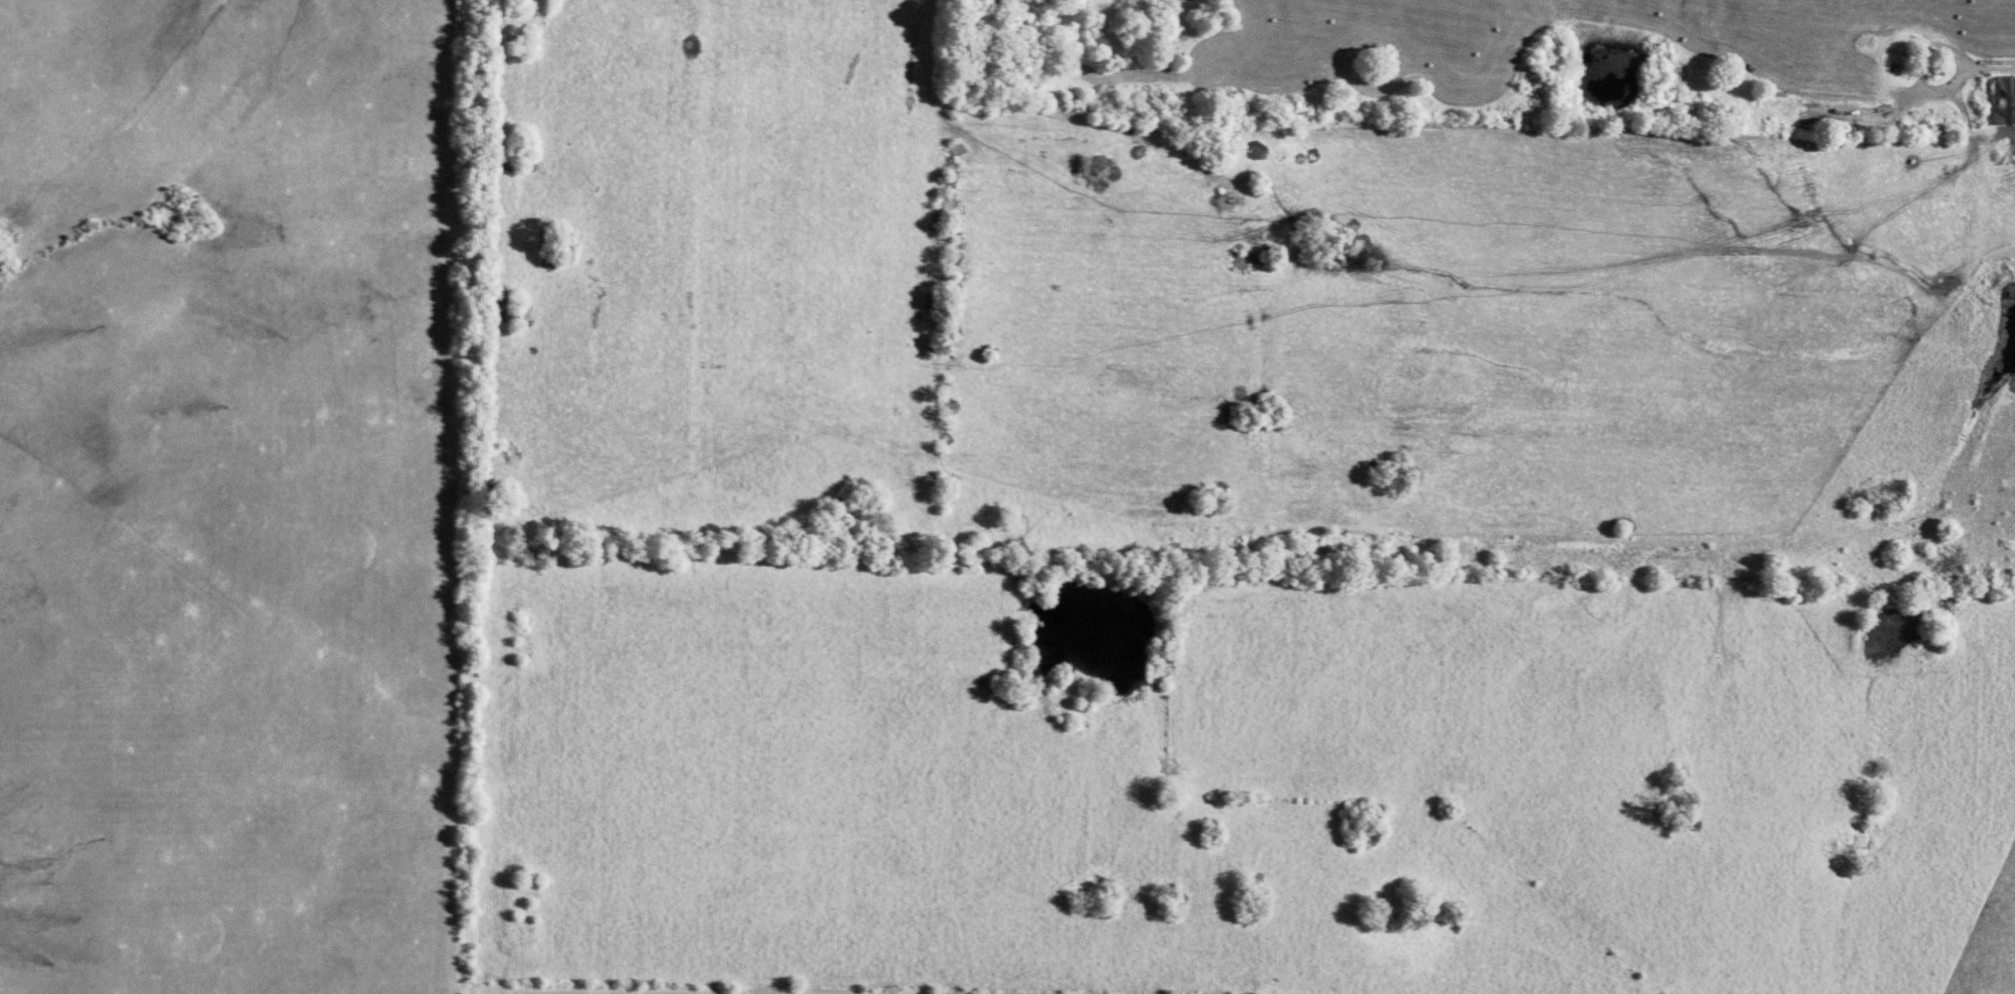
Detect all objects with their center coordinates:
road: (2013, 67)

